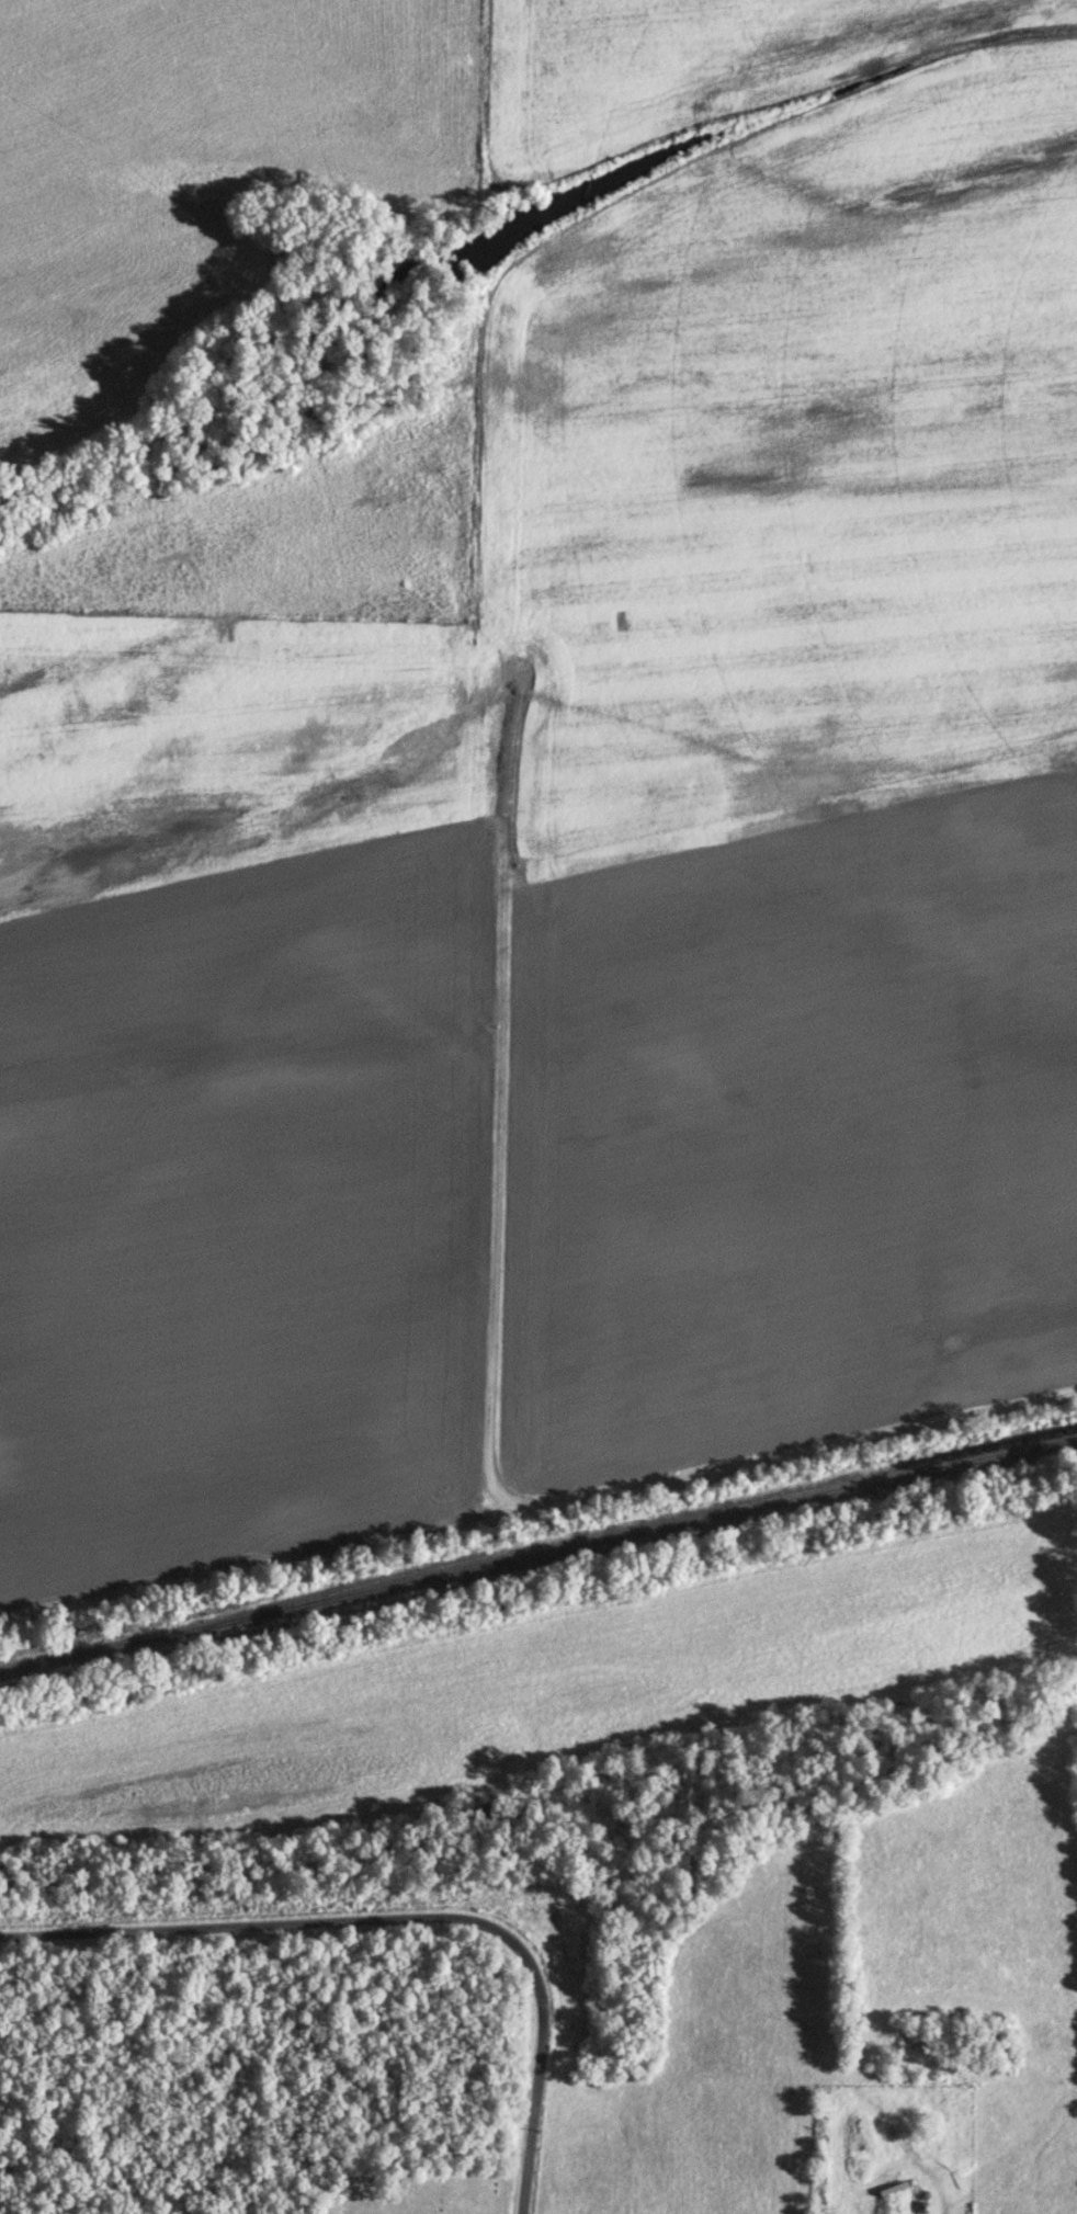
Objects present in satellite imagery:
railway: (667, 1515)
railway: (538, 1554)
road: (398, 1917)
park: (416, 2188)

